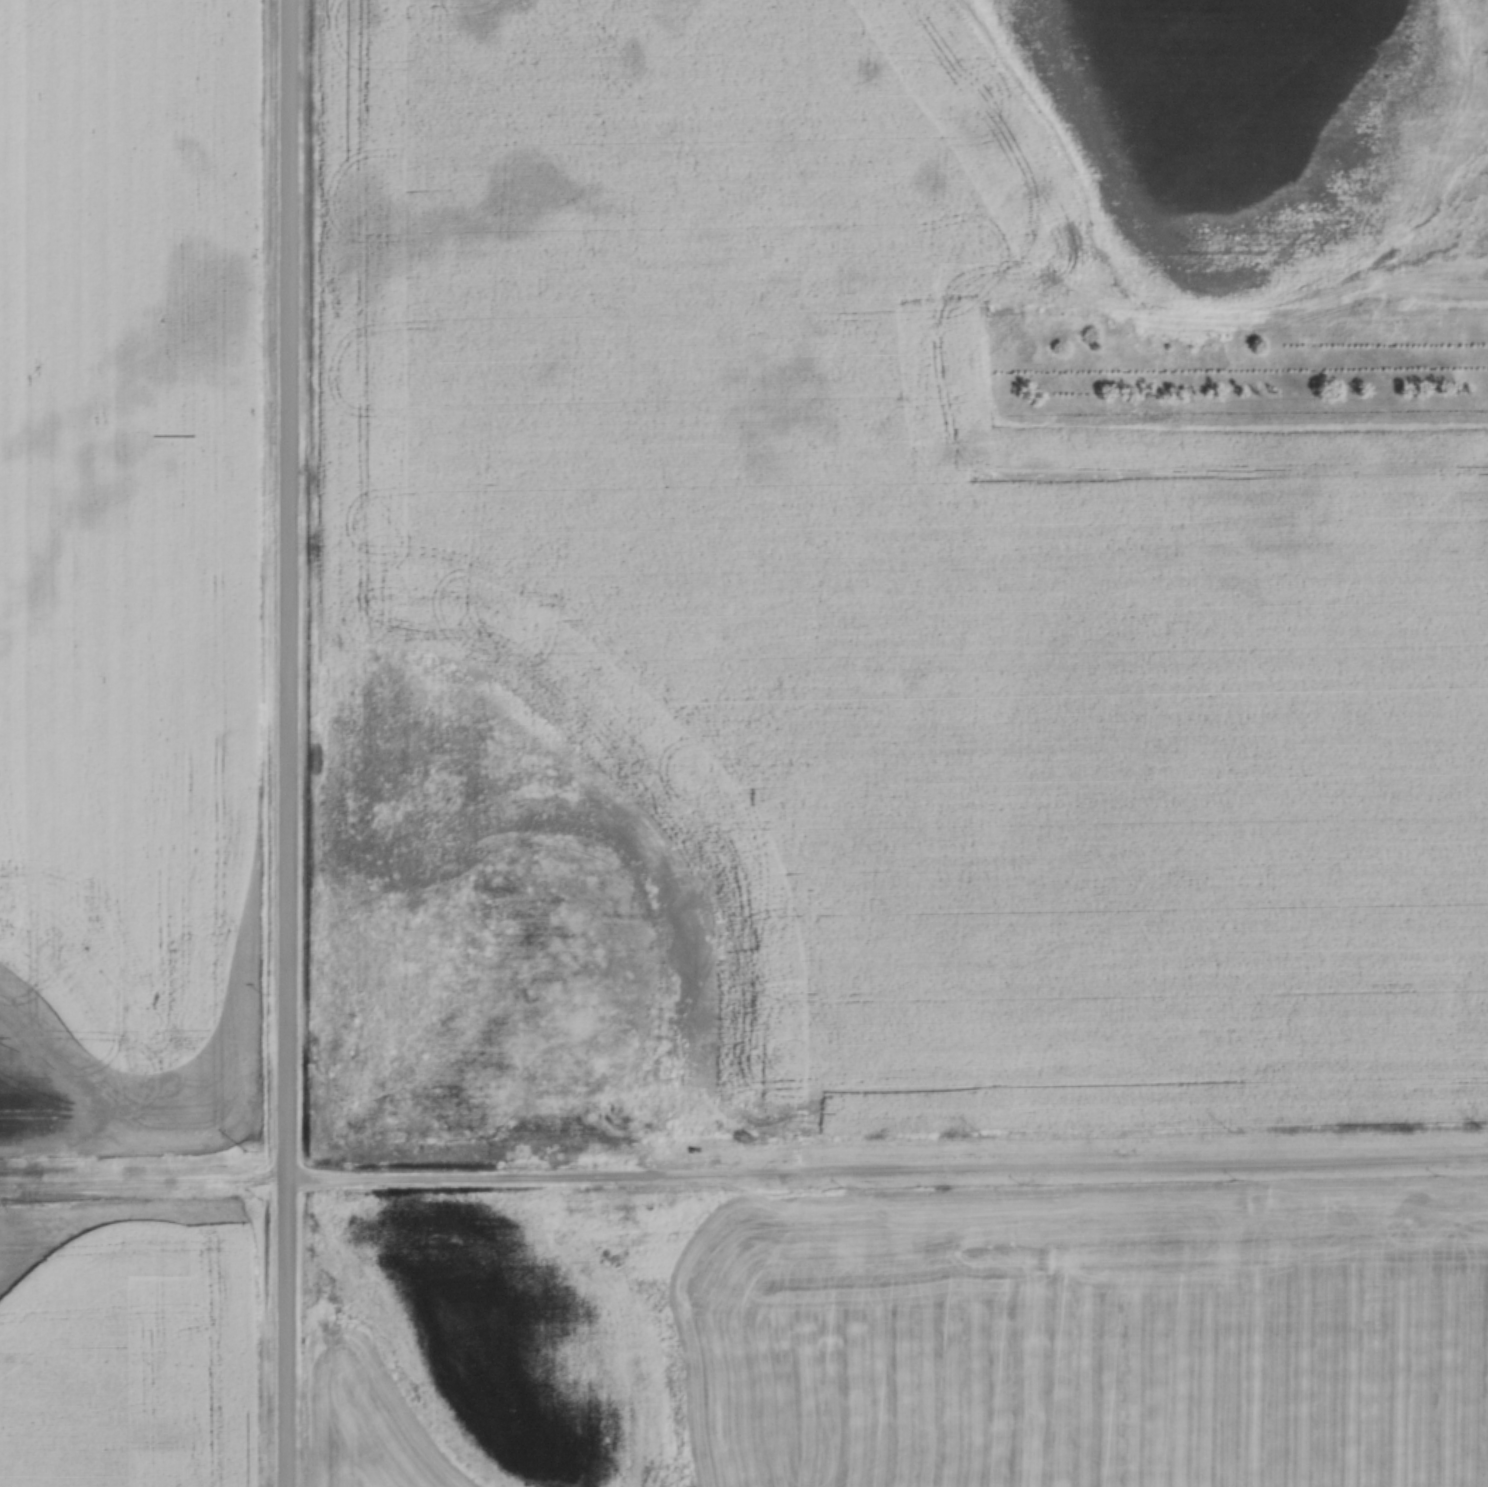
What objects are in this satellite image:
road: (284, 743)
road: (744, 1186)

